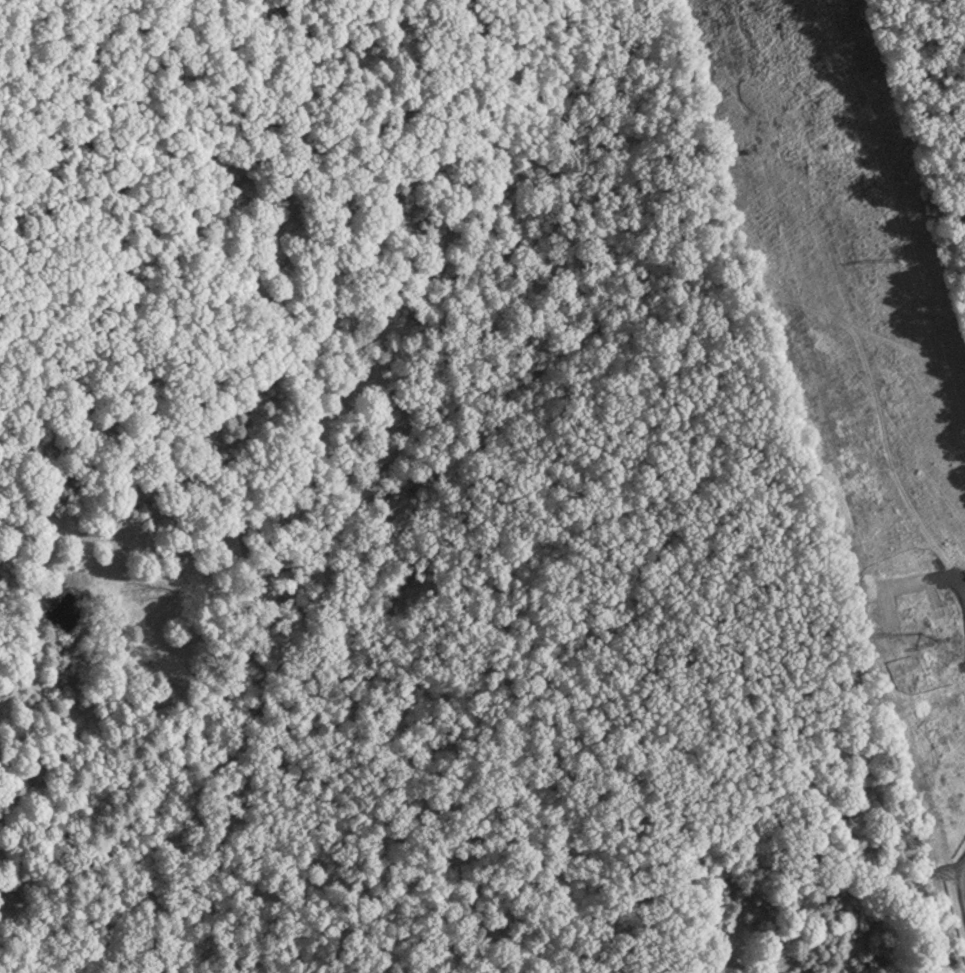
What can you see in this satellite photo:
power tower: (909, 257)
road: (922, 354)
power tower: (920, 638)

